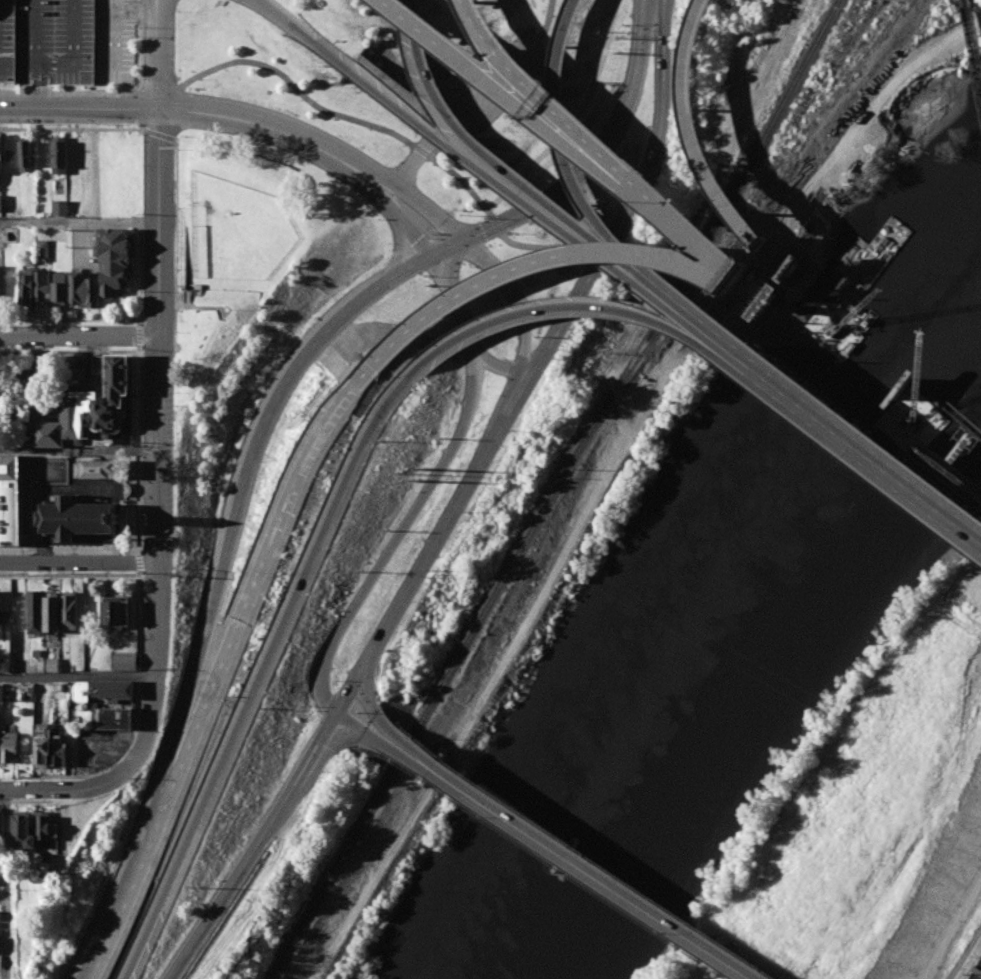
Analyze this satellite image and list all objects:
road: (273, 11)
road: (668, 17)
road: (546, 21)
road: (647, 25)
railway: (972, 36)
parking lot: (66, 41)
road: (141, 42)
road: (537, 45)
road: (157, 53)
road: (53, 64)
road: (263, 64)
road: (40, 66)
road: (476, 73)
road: (516, 73)
parking lot: (495, 87)
road: (436, 94)
road: (41, 98)
road: (391, 99)
road: (79, 107)
road: (572, 117)
road: (69, 129)
road: (564, 148)
road: (310, 152)
road: (421, 152)
building: (25, 154)
building: (58, 154)
road: (600, 155)
railway: (787, 157)
building: (0, 158)
road: (393, 183)
road: (636, 201)
building: (1, 202)
building: (60, 207)
road: (660, 213)
road: (79, 222)
road: (566, 229)
road: (545, 246)
road: (764, 246)
building: (42, 248)
road: (445, 249)
building: (115, 258)
road: (546, 260)
road: (139, 273)
building: (26, 286)
park: (250, 286)
building: (1, 287)
building: (42, 287)
building: (59, 289)
building: (85, 290)
road: (460, 301)
road: (573, 304)
flagpole: (227, 308)
road: (69, 319)
road: (696, 319)
road: (139, 336)
road: (79, 337)
road: (69, 352)
road: (502, 369)
road: (862, 373)
building: (89, 409)
road: (798, 410)
road: (158, 440)
road: (79, 448)
road: (139, 448)
road: (865, 449)
road: (248, 461)
building: (98, 468)
railway: (553, 489)
building: (10, 500)
road: (590, 500)
building: (75, 518)
road: (398, 536)
road: (271, 543)
road: (437, 545)
road: (72, 549)
road: (78, 560)
road: (140, 561)
road: (141, 572)
building: (70, 610)
building: (36, 611)
building: (52, 611)
building: (114, 613)
building: (1, 614)
river: (736, 639)
building: (125, 660)
road: (141, 661)
building: (5, 665)
road: (259, 673)
road: (77, 675)
building: (102, 690)
building: (1, 692)
building: (115, 718)
road: (354, 719)
building: (43, 744)
building: (11, 745)
parking lot: (102, 748)
building: (60, 754)
road: (64, 787)
building: (2, 823)
building: (24, 828)
building: (44, 828)
road: (253, 845)
road: (559, 853)
road: (142, 860)
building: (41, 872)
road: (7, 883)
building: (1, 915)
building: (1, 928)
building: (1, 947)
road: (964, 953)
building: (1, 961)
parking lot: (976, 971)

